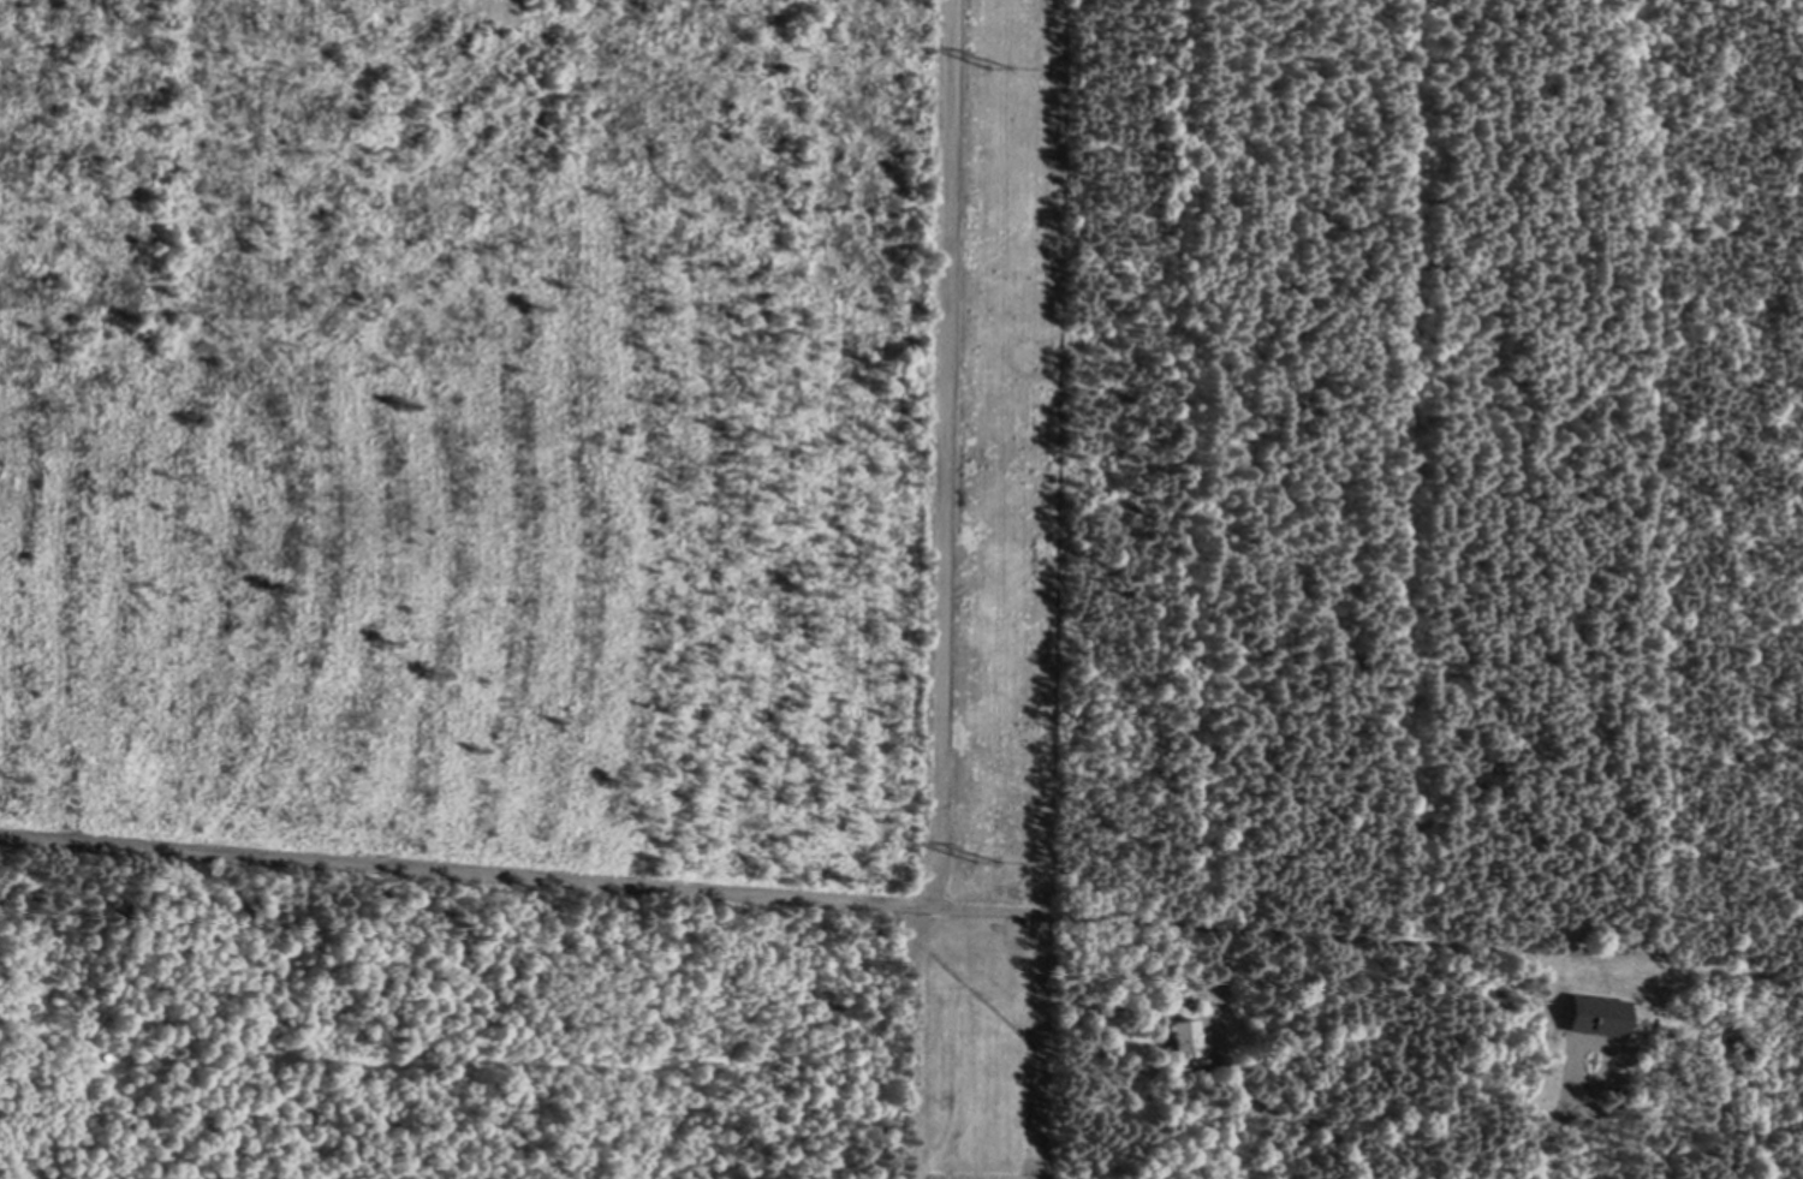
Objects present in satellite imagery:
power tower: (1001, 66)
road: (947, 453)
power tower: (989, 862)
road: (901, 899)
building: (1180, 1034)
road: (1238, 1079)

